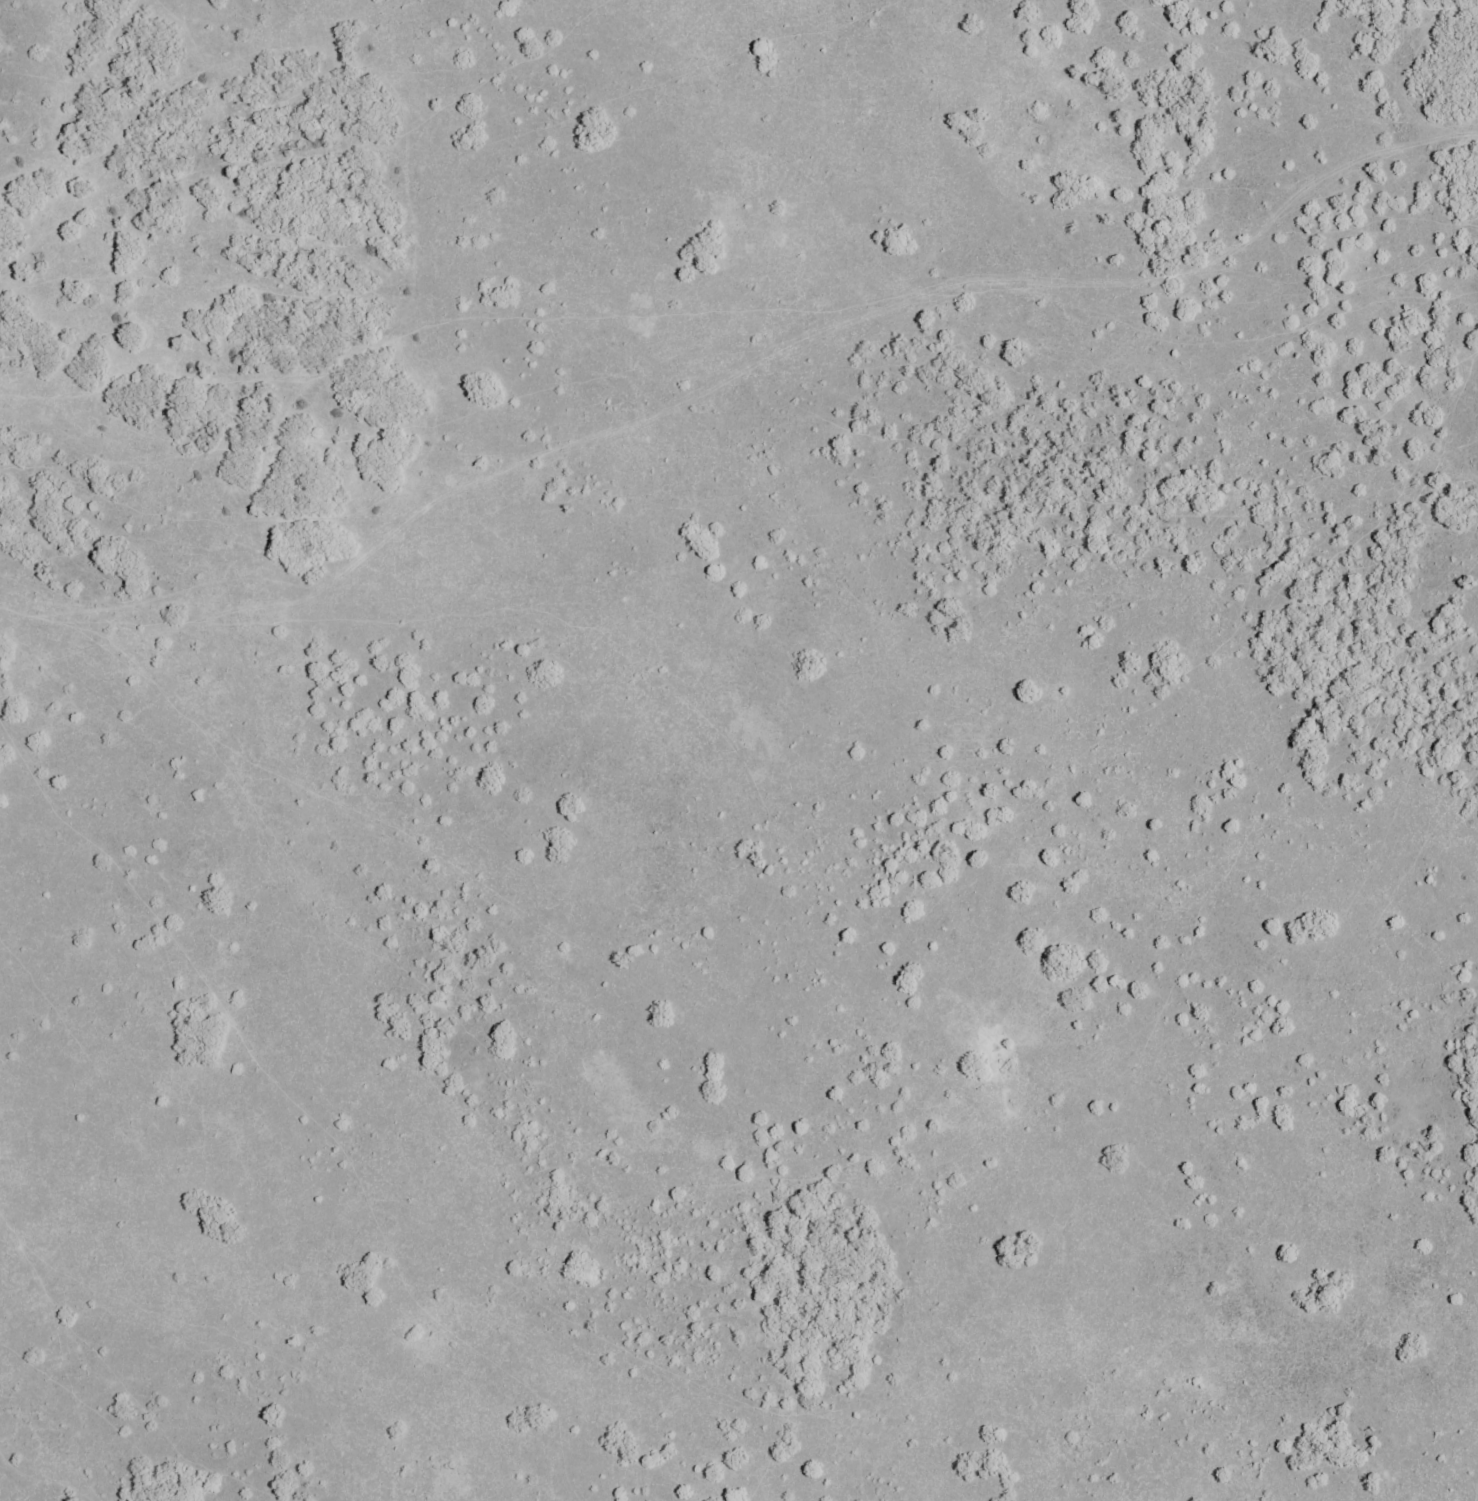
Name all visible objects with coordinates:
road: (1206, 506)

